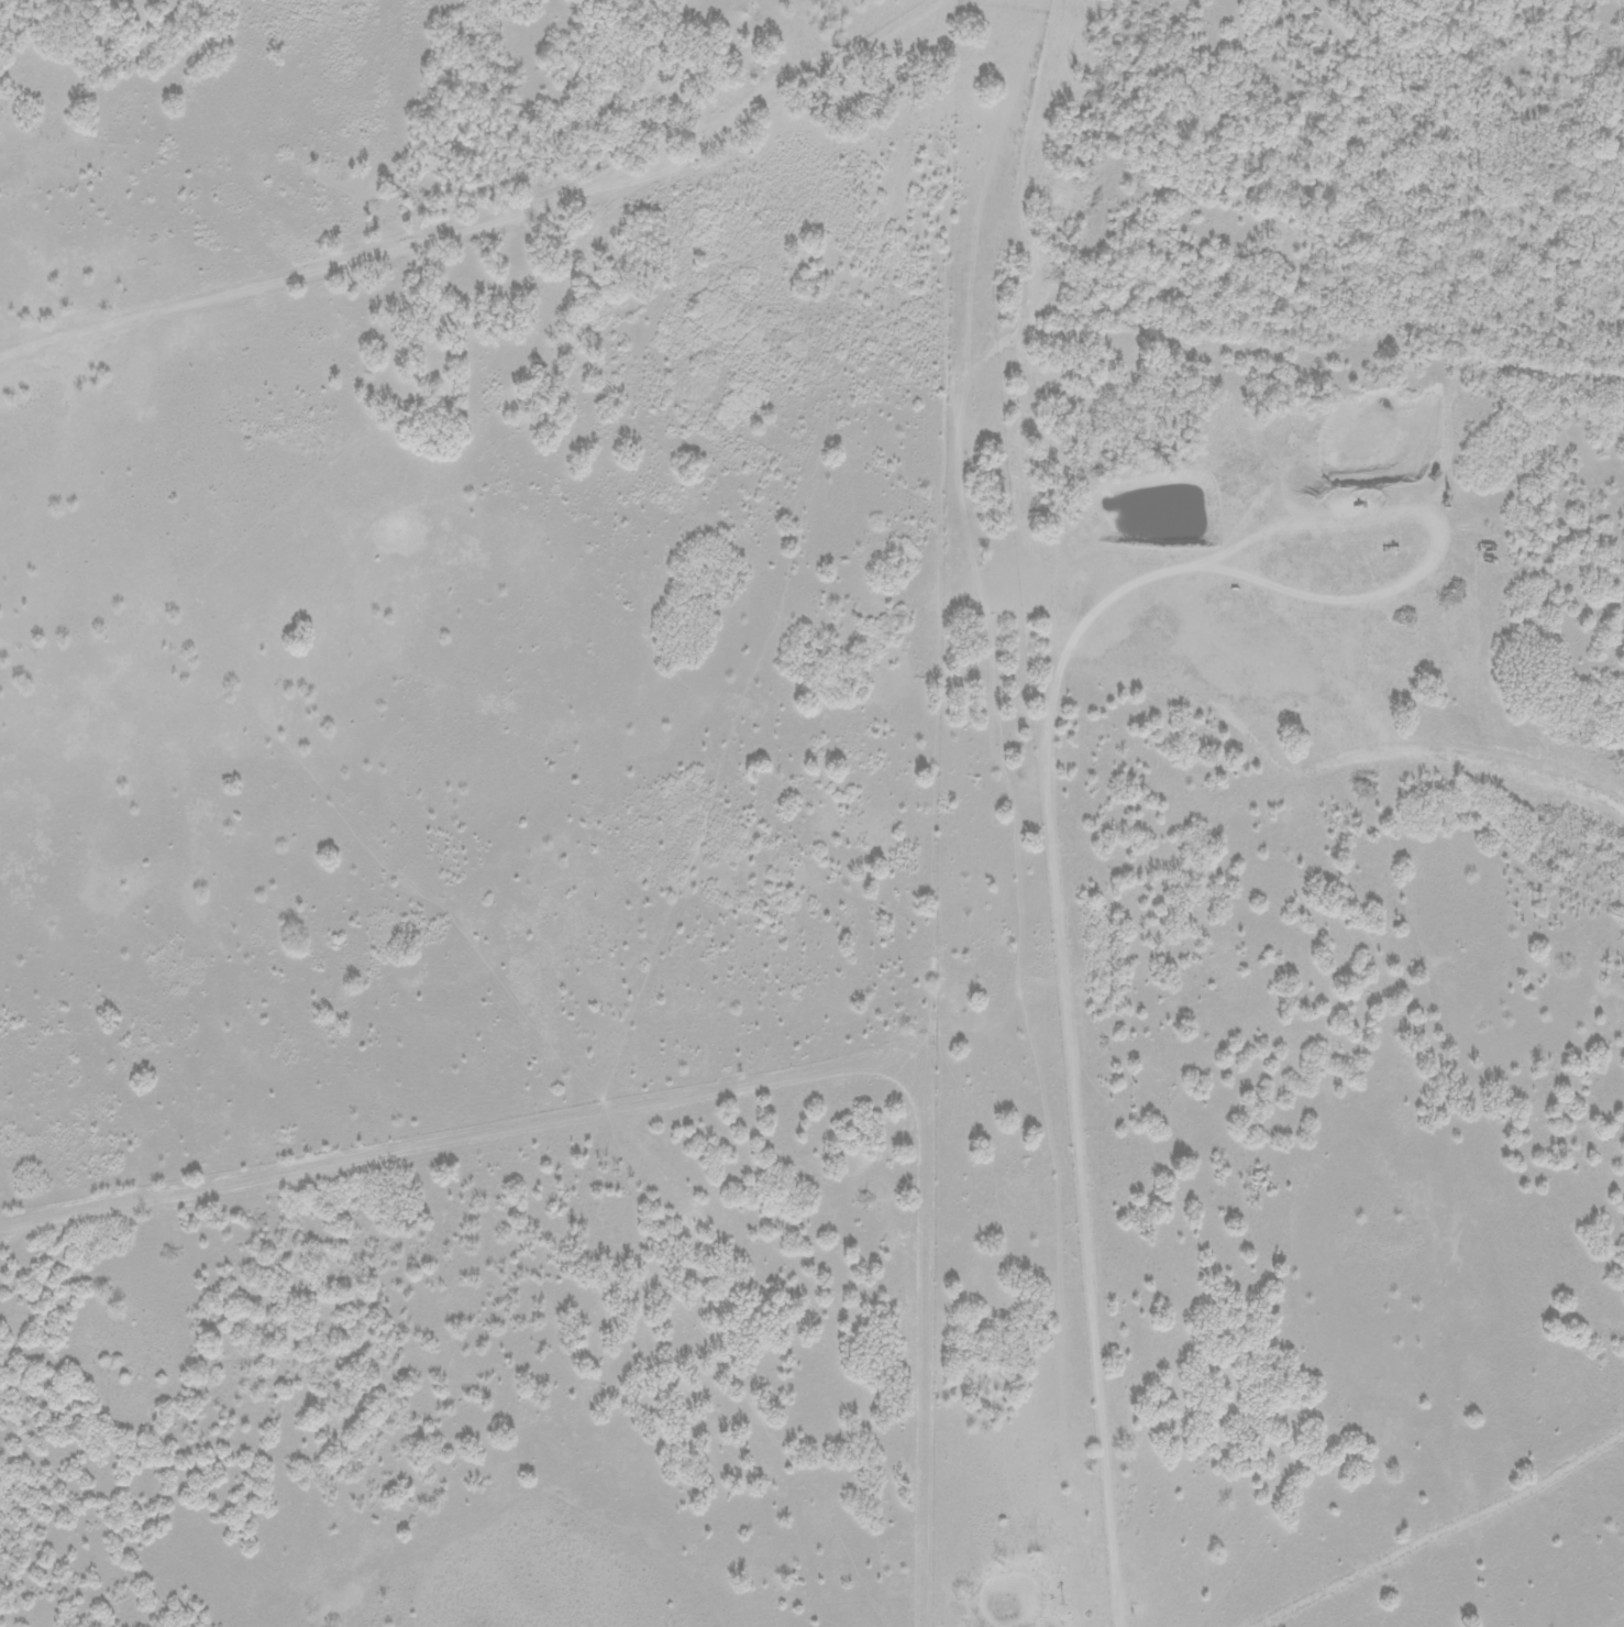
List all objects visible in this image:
road: (517, 231)

